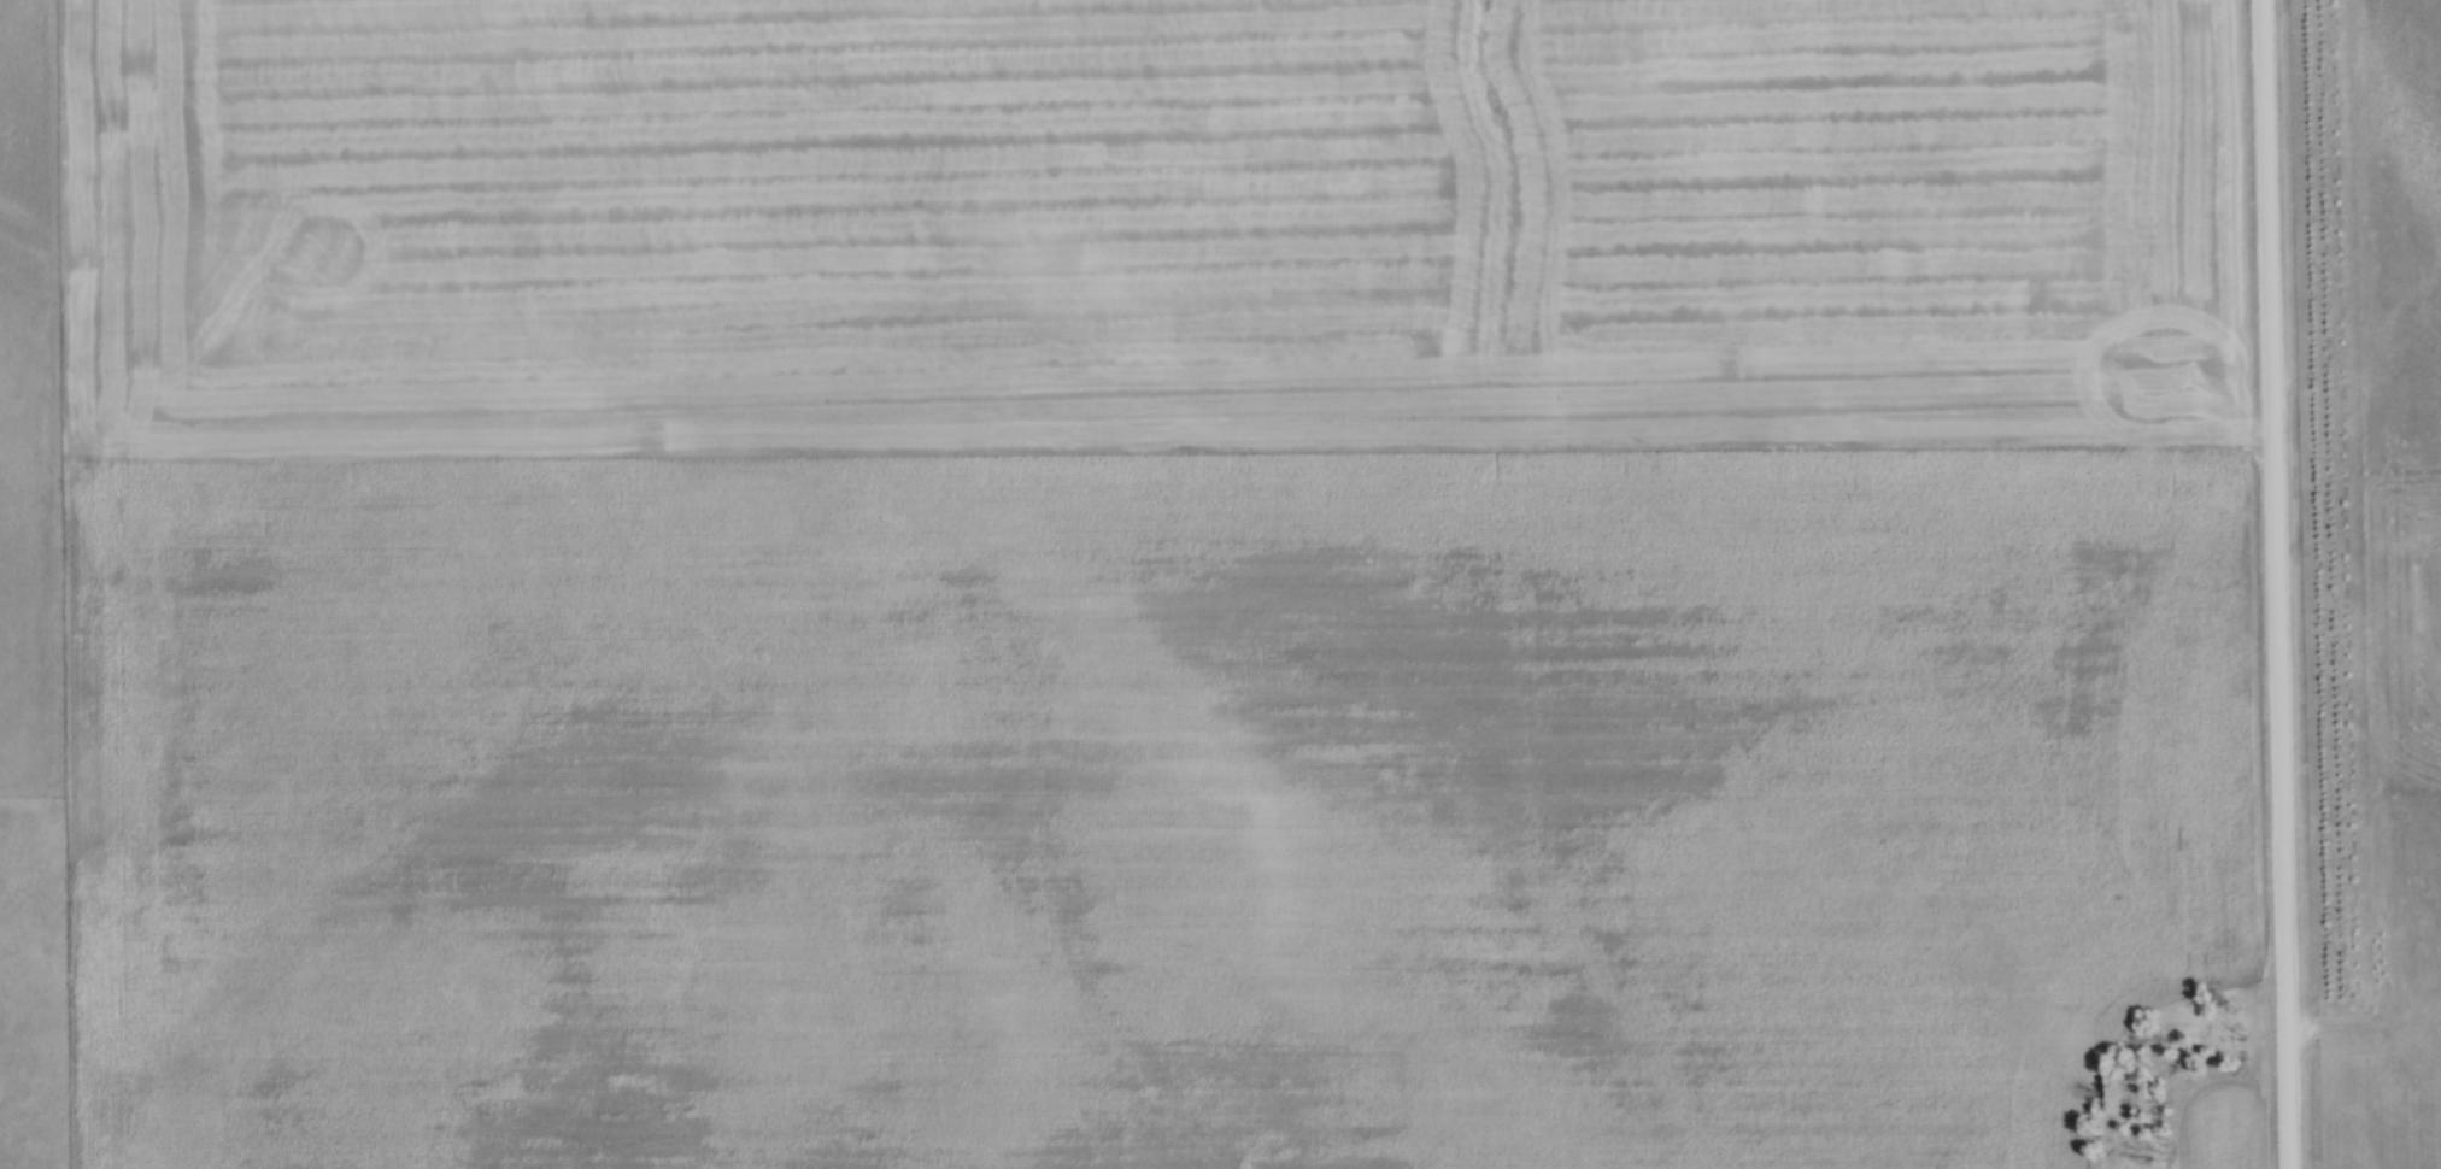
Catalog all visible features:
road: (2278, 584)

